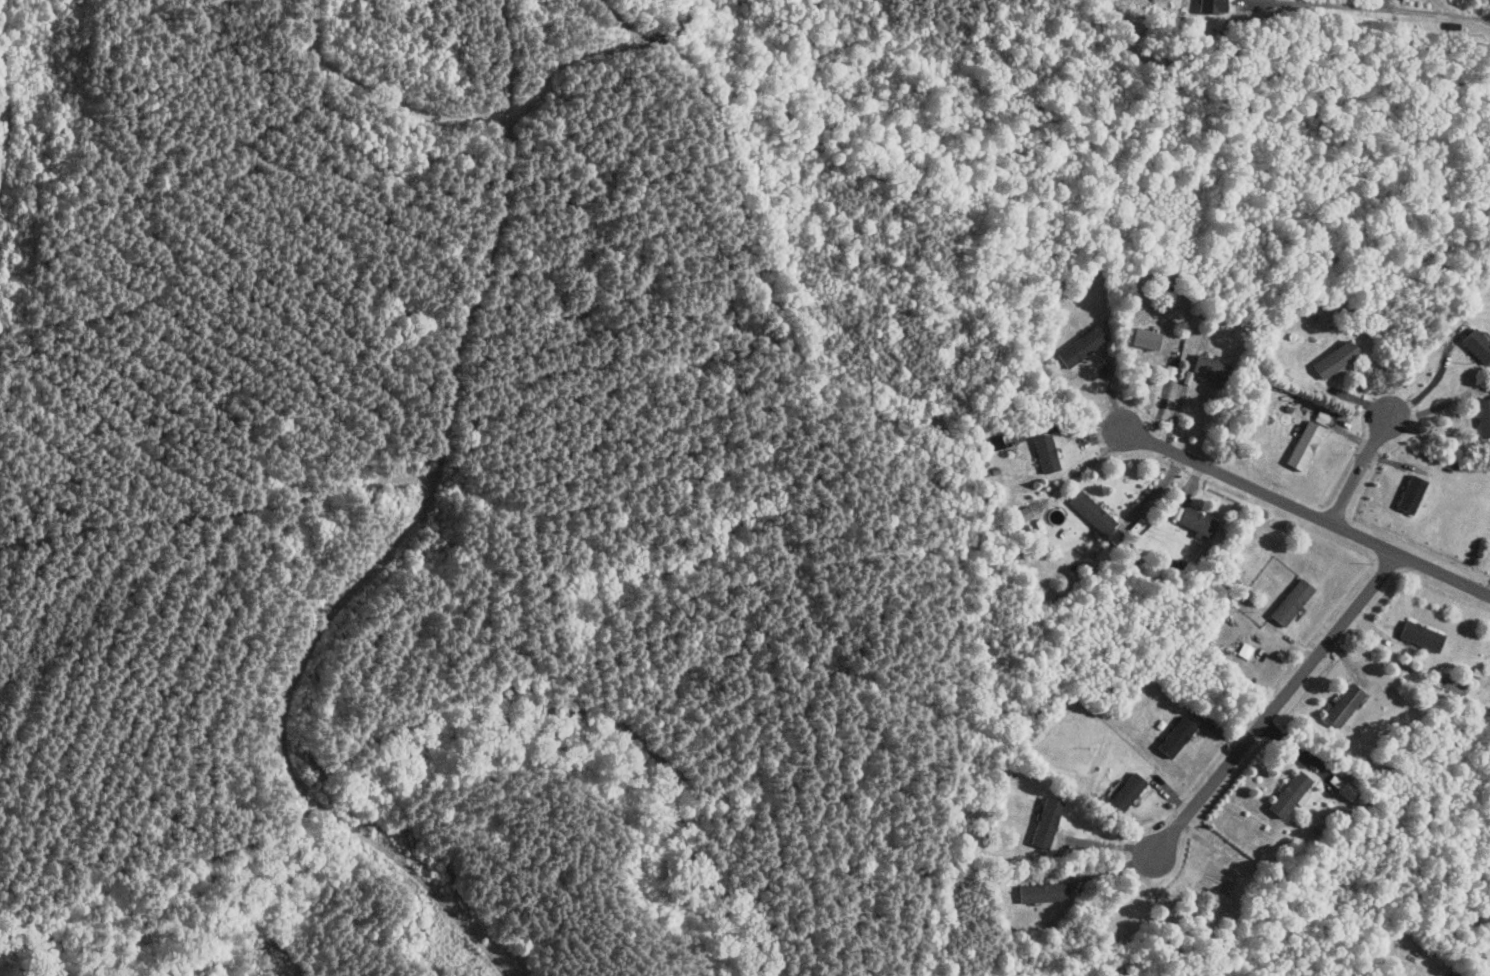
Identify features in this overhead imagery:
building: (1208, 7)
road: (1365, 8)
building: (1144, 337)
building: (1476, 344)
building: (1081, 346)
building: (1332, 358)
building: (1205, 365)
building: (1170, 372)
road: (1436, 379)
building: (1482, 415)
building: (1320, 416)
building: (1302, 444)
building: (1045, 453)
road: (1362, 468)
road: (1153, 493)
building: (1409, 493)
building: (1089, 511)
road: (1307, 512)
building: (1193, 519)
building: (1289, 601)
building: (1418, 635)
building: (1244, 650)
road: (1278, 704)
building: (1340, 704)
building: (1174, 736)
building: (1340, 786)
building: (1125, 791)
building: (1289, 793)
building: (1044, 822)
road: (1111, 843)
building: (1043, 892)

